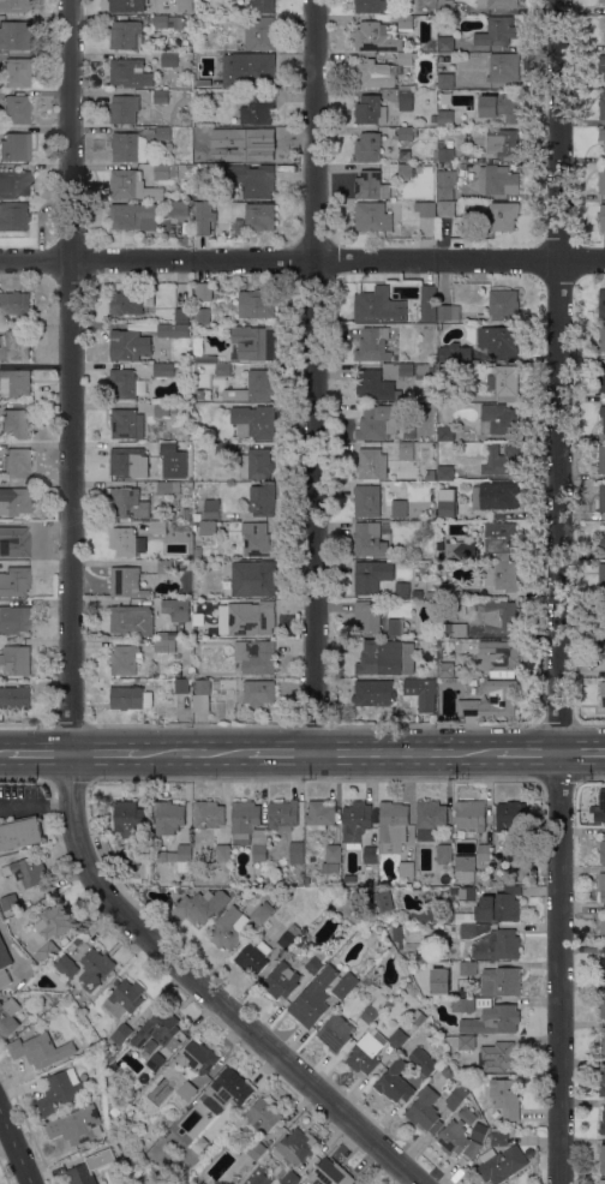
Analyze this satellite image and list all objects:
building: (601, 1)
building: (497, 4)
building: (127, 5)
building: (14, 6)
building: (260, 6)
building: (371, 6)
building: (445, 6)
building: (185, 7)
building: (167, 22)
building: (405, 22)
building: (601, 26)
building: (497, 31)
building: (258, 34)
building: (13, 35)
building: (126, 35)
building: (184, 36)
building: (376, 37)
building: (445, 43)
building: (406, 58)
building: (169, 59)
building: (601, 65)
building: (206, 66)
building: (504, 67)
building: (248, 70)
building: (17, 72)
building: (128, 73)
building: (376, 73)
building: (445, 80)
building: (203, 84)
building: (161, 96)
building: (405, 97)
building: (601, 104)
building: (502, 106)
building: (257, 107)
building: (16, 109)
building: (124, 109)
building: (370, 109)
building: (444, 118)
building: (433, 119)
building: (166, 132)
building: (209, 132)
building: (223, 132)
building: (406, 133)
building: (601, 136)
building: (503, 142)
building: (449, 143)
building: (439, 144)
building: (14, 146)
building: (367, 146)
building: (128, 148)
building: (253, 148)
building: (277, 148)
building: (405, 155)
building: (445, 155)
building: (188, 168)
building: (427, 168)
building: (164, 171)
building: (405, 171)
building: (248, 179)
building: (601, 179)
building: (498, 180)
building: (14, 184)
building: (445, 184)
building: (371, 185)
building: (132, 186)
building: (445, 208)
building: (179, 209)
building: (425, 209)
building: (13, 216)
building: (134, 216)
building: (259, 216)
building: (372, 216)
building: (502, 216)
road: (38, 217)
building: (603, 217)
building: (203, 219)
road: (302, 263)
building: (203, 292)
building: (130, 301)
building: (429, 303)
building: (601, 303)
building: (16, 304)
building: (256, 304)
building: (378, 306)
building: (501, 306)
building: (448, 312)
building: (181, 315)
building: (202, 315)
building: (173, 330)
building: (603, 337)
building: (497, 339)
building: (253, 342)
building: (14, 345)
building: (128, 345)
building: (373, 345)
building: (455, 353)
building: (222, 367)
building: (209, 369)
building: (163, 370)
building: (407, 370)
building: (444, 371)
road: (321, 377)
building: (432, 378)
building: (603, 379)
building: (504, 381)
building: (16, 382)
building: (128, 383)
building: (253, 387)
building: (376, 387)
building: (445, 391)
building: (199, 394)
building: (164, 408)
building: (441, 413)
building: (603, 417)
building: (498, 419)
building: (376, 420)
building: (254, 421)
building: (17, 423)
building: (126, 424)
building: (445, 432)
building: (170, 448)
building: (224, 448)
building: (406, 452)
building: (601, 459)
building: (502, 460)
building: (126, 461)
building: (17, 462)
building: (256, 464)
building: (371, 464)
building: (445, 472)
building: (430, 474)
building: (168, 488)
building: (498, 495)
building: (582, 495)
building: (601, 497)
building: (262, 500)
building: (366, 500)
building: (14, 501)
building: (124, 501)
building: (399, 508)
building: (447, 508)
building: (211, 509)
building: (432, 510)
building: (197, 516)
building: (138, 526)
building: (161, 527)
building: (208, 527)
building: (498, 537)
building: (256, 539)
building: (369, 540)
building: (17, 542)
building: (126, 542)
building: (601, 543)
building: (453, 550)
building: (197, 552)
building: (421, 555)
building: (164, 566)
building: (181, 566)
building: (502, 575)
building: (601, 575)
building: (371, 576)
building: (252, 579)
building: (17, 580)
building: (126, 582)
building: (402, 590)
building: (445, 590)
road: (562, 591)
building: (431, 594)
building: (176, 610)
building: (369, 616)
building: (502, 616)
building: (603, 616)
building: (251, 617)
building: (14, 618)
building: (132, 620)
building: (394, 626)
building: (451, 629)
building: (164, 642)
building: (456, 646)
building: (603, 646)
building: (256, 656)
building: (498, 656)
building: (125, 658)
building: (385, 658)
building: (16, 659)
building: (448, 664)
road: (68, 666)
building: (182, 684)
building: (212, 684)
building: (259, 692)
building: (372, 692)
building: (419, 693)
building: (603, 694)
building: (14, 696)
building: (126, 698)
building: (492, 700)
road: (2, 754)
road: (36, 754)
road: (103, 754)
road: (193, 754)
road: (282, 754)
road: (407, 754)
road: (528, 754)
road: (583, 754)
road: (35, 807)
building: (600, 808)
building: (208, 814)
building: (471, 814)
building: (282, 815)
building: (319, 815)
building: (168, 817)
building: (128, 818)
building: (429, 819)
building: (511, 823)
building: (355, 824)
building: (250, 826)
building: (393, 826)
building: (19, 832)
building: (603, 850)
building: (484, 851)
building: (222, 853)
building: (296, 853)
building: (333, 853)
building: (443, 853)
building: (370, 855)
building: (128, 857)
building: (176, 857)
building: (406, 868)
building: (465, 868)
building: (25, 871)
building: (351, 878)
building: (601, 886)
building: (453, 891)
building: (467, 893)
building: (382, 899)
building: (8, 902)
building: (199, 903)
building: (499, 905)
building: (347, 908)
building: (262, 913)
building: (465, 917)
building: (53, 921)
building: (372, 921)
building: (229, 928)
building: (601, 928)
building: (472, 929)
building: (397, 932)
building: (289, 937)
building: (497, 945)
building: (46, 952)
building: (304, 956)
building: (253, 957)
building: (317, 961)
building: (4, 964)
building: (601, 965)
building: (66, 967)
building: (95, 968)
building: (468, 968)
building: (283, 977)
building: (499, 981)
building: (346, 986)
building: (125, 998)
building: (313, 998)
building: (601, 1003)
building: (375, 1005)
building: (487, 1015)
building: (7, 1017)
building: (419, 1018)
building: (158, 1029)
building: (335, 1033)
building: (121, 1034)
building: (466, 1042)
building: (150, 1046)
building: (603, 1046)
building: (372, 1048)
building: (40, 1050)
building: (498, 1056)
building: (421, 1062)
building: (194, 1065)
building: (152, 1066)
building: (395, 1082)
building: (601, 1083)
building: (228, 1090)
building: (60, 1092)
building: (456, 1096)
building: (505, 1098)
building: (425, 1110)
building: (114, 1113)
building: (262, 1116)
building: (603, 1120)
building: (74, 1125)
building: (479, 1131)
building: (453, 1137)
building: (497, 1138)
road: (13, 1150)
building: (257, 1150)
building: (290, 1152)
building: (601, 1158)
building: (501, 1164)
building: (88, 1168)
building: (329, 1173)
building: (256, 1177)
building: (290, 1178)
building: (601, 1182)
building: (232, 1183)

